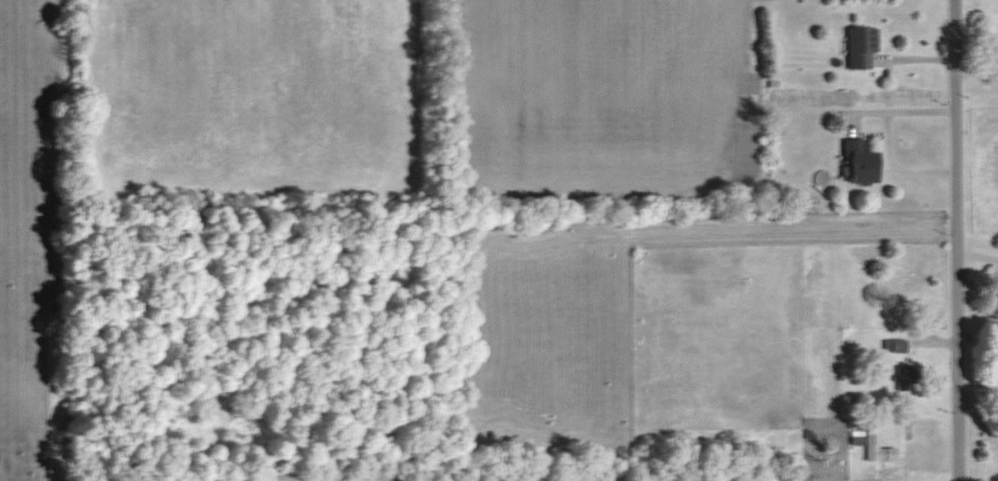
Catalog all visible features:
building: (862, 48)
building: (863, 163)
road: (957, 240)
building: (896, 347)
building: (908, 376)

